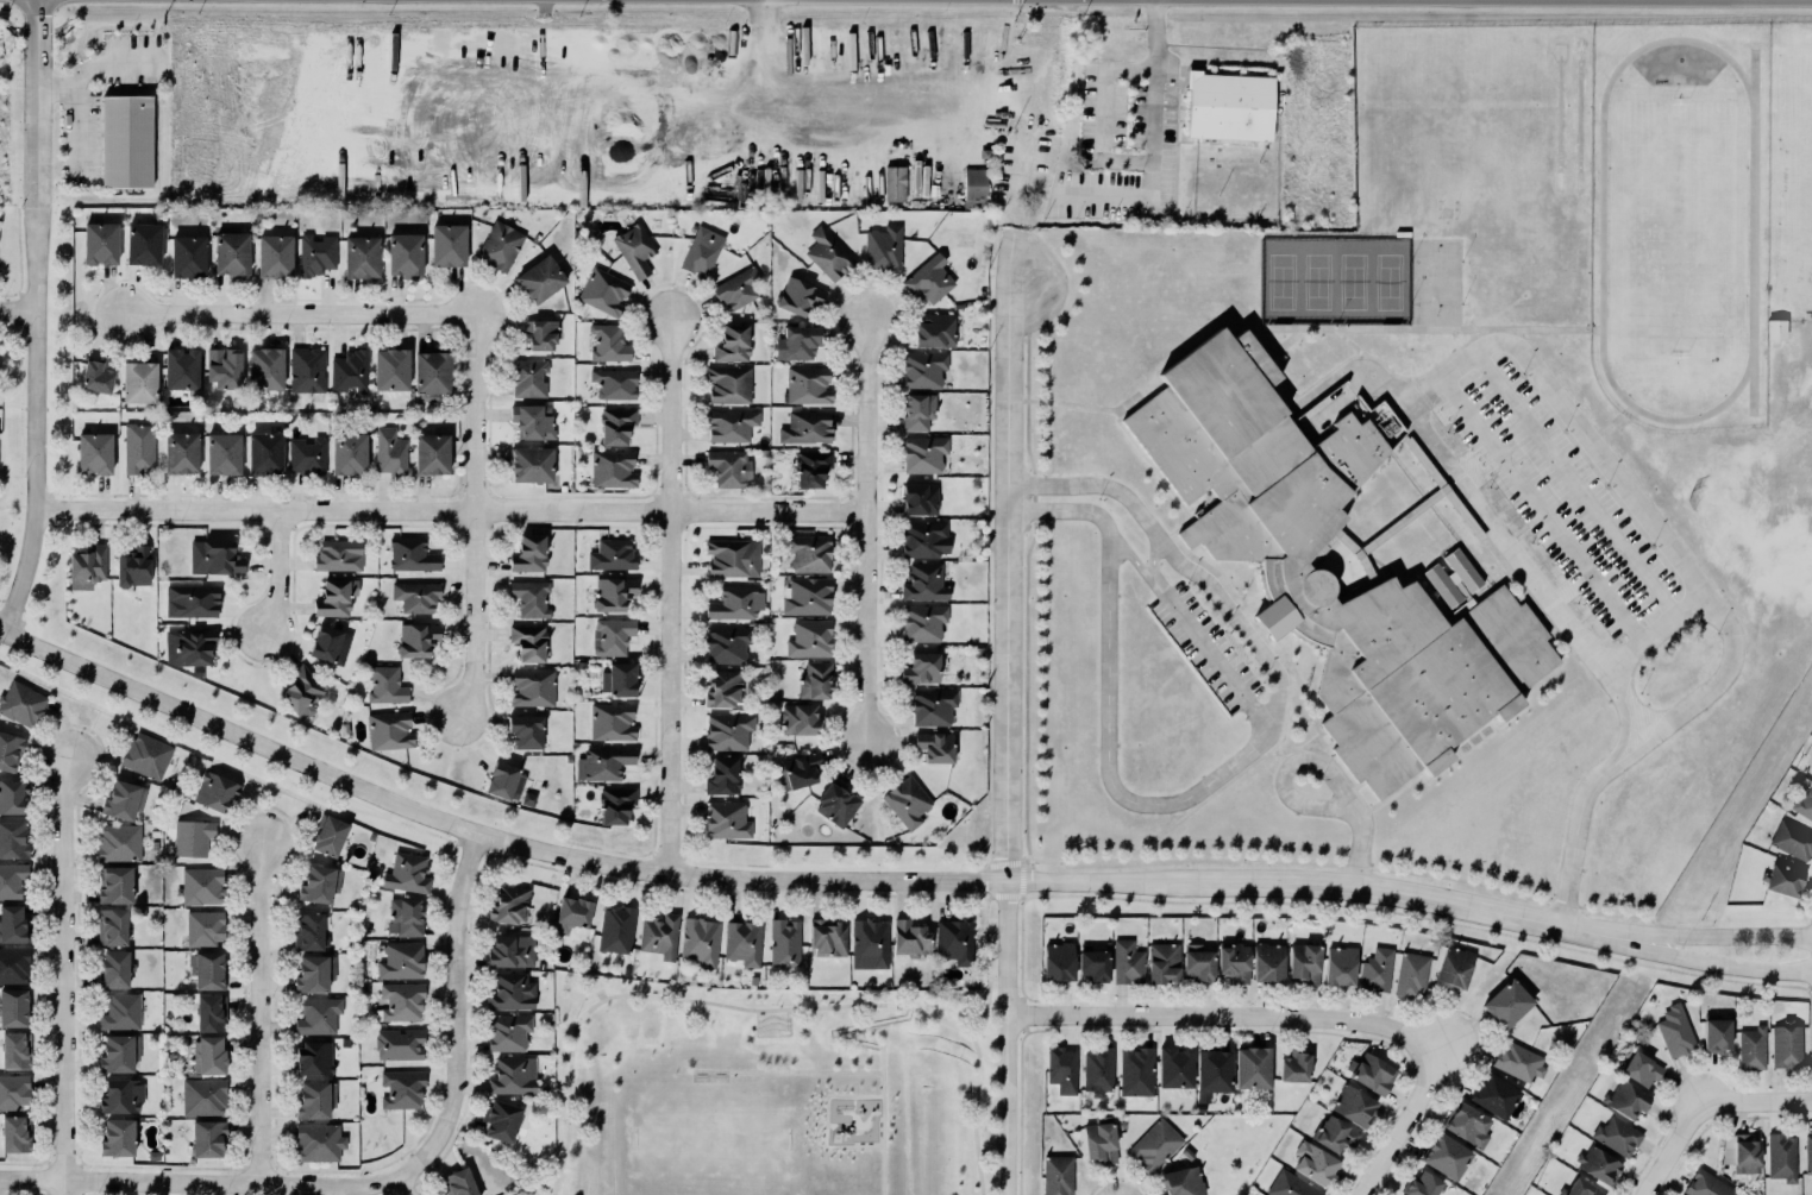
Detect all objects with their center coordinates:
road: (113, 61)
road: (820, 107)
building: (1230, 107)
road: (75, 108)
road: (1105, 115)
building: (127, 143)
road: (1156, 144)
building: (983, 152)
building: (895, 183)
building: (972, 184)
track: (1754, 226)
building: (446, 241)
building: (100, 243)
building: (143, 244)
building: (499, 244)
building: (882, 246)
building: (635, 249)
building: (231, 251)
building: (700, 251)
building: (316, 253)
building: (276, 254)
building: (360, 254)
building: (405, 254)
building: (828, 254)
building: (187, 256)
building: (539, 276)
building: (927, 277)
park: (1283, 281)
park: (1317, 281)
park: (1353, 281)
park: (1388, 281)
building: (736, 287)
building: (604, 290)
building: (800, 296)
road: (19, 312)
road: (301, 314)
road: (38, 320)
building: (1776, 329)
building: (935, 331)
building: (539, 332)
building: (795, 340)
building: (731, 341)
building: (608, 342)
building: (263, 366)
building: (180, 367)
building: (224, 367)
building: (307, 369)
building: (390, 369)
building: (923, 369)
building: (350, 371)
building: (431, 371)
building: (95, 373)
building: (527, 377)
building: (138, 380)
building: (614, 382)
building: (729, 384)
building: (807, 385)
building: (916, 409)
building: (532, 420)
building: (615, 423)
building: (728, 423)
building: (807, 427)
building: (138, 447)
building: (93, 451)
building: (389, 451)
building: (181, 452)
building: (264, 452)
building: (923, 452)
building: (222, 453)
building: (350, 453)
building: (431, 453)
building: (306, 454)
building: (531, 464)
building: (728, 465)
building: (810, 466)
building: (610, 467)
road: (1576, 485)
building: (920, 498)
road: (20, 505)
road: (1543, 509)
road: (453, 510)
road: (475, 517)
road: (1491, 518)
road: (867, 530)
building: (923, 536)
building: (527, 552)
building: (612, 553)
building: (809, 553)
road: (1128, 553)
building: (338, 554)
building: (410, 554)
road: (1152, 555)
building: (214, 556)
building: (733, 558)
building: (1283, 562)
building: (132, 564)
building: (87, 566)
road: (278, 572)
road: (1698, 580)
building: (924, 583)
building: (613, 593)
building: (334, 595)
building: (805, 595)
building: (416, 596)
building: (529, 597)
building: (190, 599)
road: (672, 599)
building: (736, 603)
building: (923, 619)
road: (1657, 631)
building: (612, 636)
building: (808, 636)
building: (416, 637)
building: (527, 640)
building: (325, 641)
building: (727, 643)
building: (188, 647)
road: (1212, 656)
building: (920, 666)
building: (617, 677)
building: (813, 678)
building: (383, 683)
building: (532, 687)
building: (723, 687)
building: (301, 690)
building: (21, 703)
building: (932, 705)
building: (798, 718)
building: (612, 722)
building: (388, 729)
building: (525, 729)
building: (728, 731)
road: (1008, 738)
building: (933, 744)
building: (10, 749)
building: (146, 755)
building: (602, 761)
road: (1287, 768)
building: (800, 772)
road: (1217, 774)
building: (723, 775)
building: (504, 780)
building: (215, 792)
building: (12, 794)
building: (121, 799)
building: (836, 800)
building: (905, 800)
building: (1802, 803)
building: (615, 804)
building: (725, 818)
building: (328, 835)
building: (12, 838)
building: (193, 838)
building: (1791, 838)
building: (120, 842)
road: (1356, 848)
building: (403, 869)
building: (12, 878)
building: (1781, 879)
building: (319, 881)
building: (114, 883)
road: (776, 883)
building: (200, 885)
building: (507, 902)
building: (571, 913)
building: (405, 914)
building: (13, 924)
building: (112, 926)
building: (202, 926)
building: (307, 930)
building: (616, 930)
building: (658, 932)
building: (909, 937)
road: (1703, 937)
building: (701, 938)
building: (828, 938)
building: (741, 941)
building: (955, 941)
building: (785, 943)
building: (870, 944)
building: (510, 950)
road: (990, 957)
building: (400, 960)
road: (1701, 960)
building: (1337, 961)
building: (1059, 962)
building: (1127, 962)
building: (1198, 962)
building: (1234, 962)
building: (1269, 962)
building: (1092, 963)
building: (1164, 963)
building: (1305, 963)
building: (13, 964)
building: (1454, 967)
building: (114, 968)
building: (206, 968)
building: (1375, 968)
road: (65, 970)
building: (314, 971)
building: (1410, 973)
road: (457, 990)
building: (512, 992)
building: (400, 1000)
building: (1507, 1004)
building: (13, 1007)
road: (766, 1010)
building: (209, 1011)
building: (120, 1012)
road: (263, 1014)
building: (318, 1015)
road: (1223, 1015)
building: (504, 1029)
building: (1675, 1031)
building: (1716, 1033)
building: (400, 1044)
building: (1751, 1046)
building: (1787, 1046)
building: (13, 1048)
road: (884, 1050)
road: (1437, 1050)
building: (119, 1052)
building: (207, 1054)
building: (313, 1057)
building: (1517, 1061)
building: (1293, 1064)
building: (1174, 1065)
building: (1252, 1065)
building: (1061, 1067)
building: (1097, 1069)
building: (1136, 1069)
road: (788, 1070)
building: (1642, 1070)
building: (1371, 1071)
building: (1212, 1073)
building: (512, 1075)
building: (13, 1087)
building: (401, 1088)
park: (769, 1089)
building: (201, 1092)
building: (120, 1094)
building: (1493, 1094)
building: (314, 1099)
building: (1626, 1100)
building: (1353, 1103)
road: (1757, 1103)
building: (501, 1120)
road: (827, 1121)
building: (1465, 1122)
road: (1402, 1127)
building: (14, 1131)
building: (1335, 1134)
building: (115, 1136)
building: (206, 1136)
building: (1618, 1136)
park: (707, 1138)
building: (318, 1141)
building: (1099, 1141)
building: (1154, 1144)
road: (1674, 1149)
building: (1742, 1152)
building: (1444, 1153)
building: (1808, 1153)
building: (1780, 1156)
building: (1315, 1163)
building: (1599, 1164)
building: (1055, 1174)
building: (1183, 1181)
building: (458, 1182)
road: (224, 1183)
road: (406, 1183)
building: (1287, 1183)
building: (1422, 1184)
building: (1706, 1184)
road: (68, 1187)
building: (1582, 1189)

